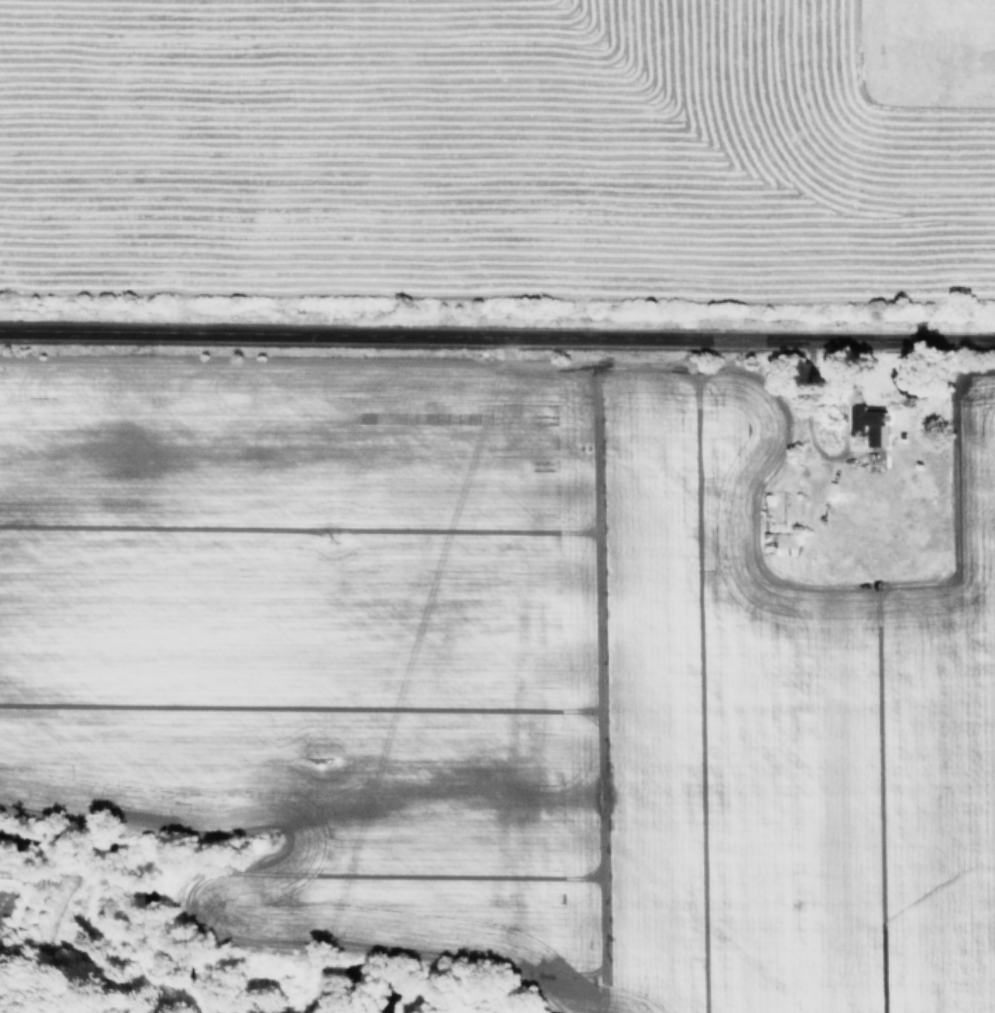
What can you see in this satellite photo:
road: (497, 329)
road: (820, 443)
crop: (500, 503)

